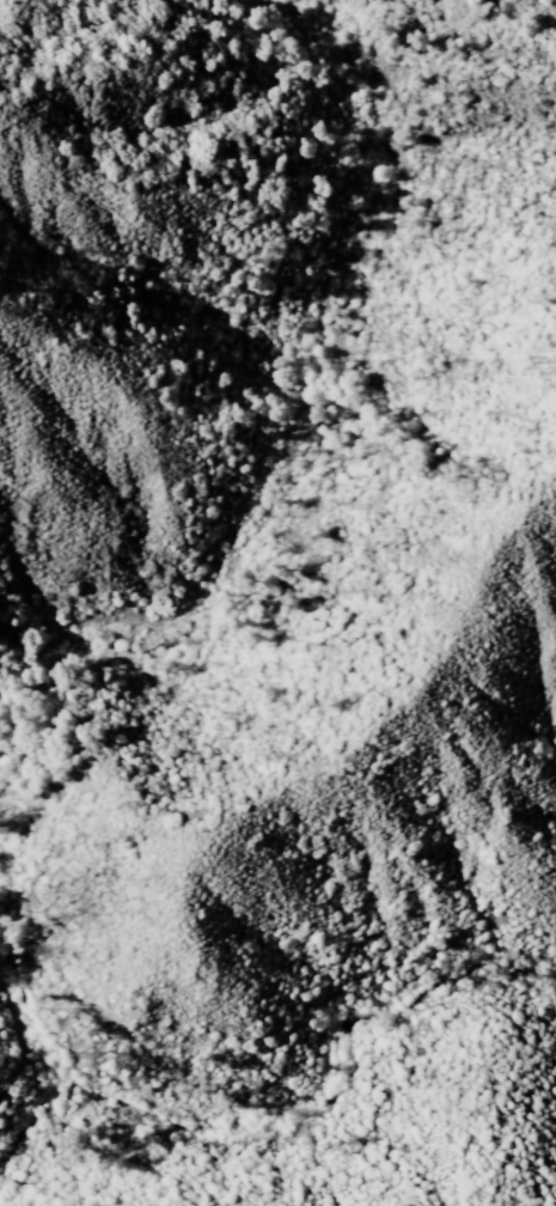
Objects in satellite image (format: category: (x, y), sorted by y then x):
road: (298, 414)
road: (23, 1048)

